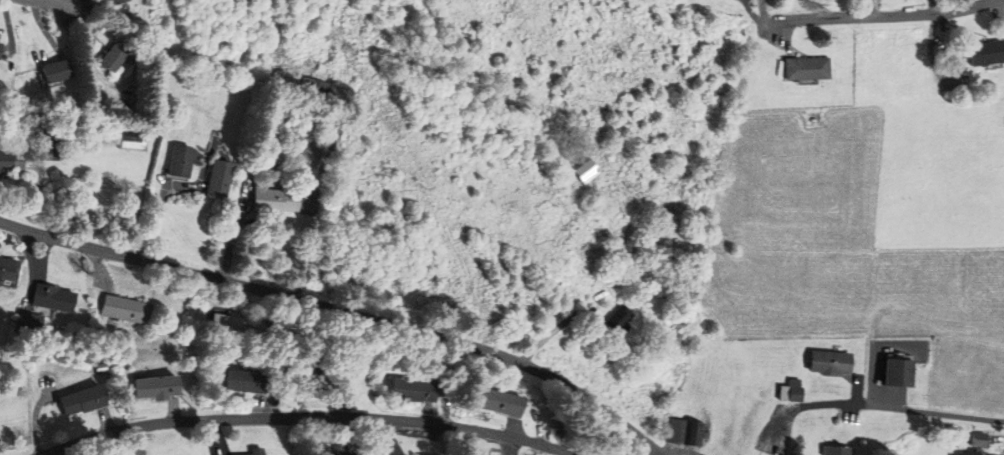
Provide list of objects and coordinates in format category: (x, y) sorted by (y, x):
building: (115, 1)
road: (54, 3)
road: (889, 16)
building: (0, 45)
building: (987, 53)
building: (114, 55)
building: (806, 68)
building: (57, 69)
building: (318, 89)
building: (314, 121)
building: (128, 141)
building: (46, 149)
building: (310, 152)
building: (7, 158)
building: (179, 161)
building: (582, 165)
building: (217, 178)
building: (272, 199)
building: (7, 268)
building: (613, 278)
building: (52, 298)
building: (125, 309)
road: (343, 310)
building: (29, 320)
building: (616, 320)
building: (226, 323)
building: (831, 361)
building: (897, 372)
building: (244, 380)
building: (324, 382)
building: (155, 386)
building: (414, 389)
building: (795, 394)
building: (82, 400)
building: (501, 402)
road: (881, 406)
road: (311, 416)
building: (678, 431)
building: (695, 433)
building: (978, 439)
building: (838, 450)
building: (253, 451)
building: (335, 453)
building: (971, 453)

